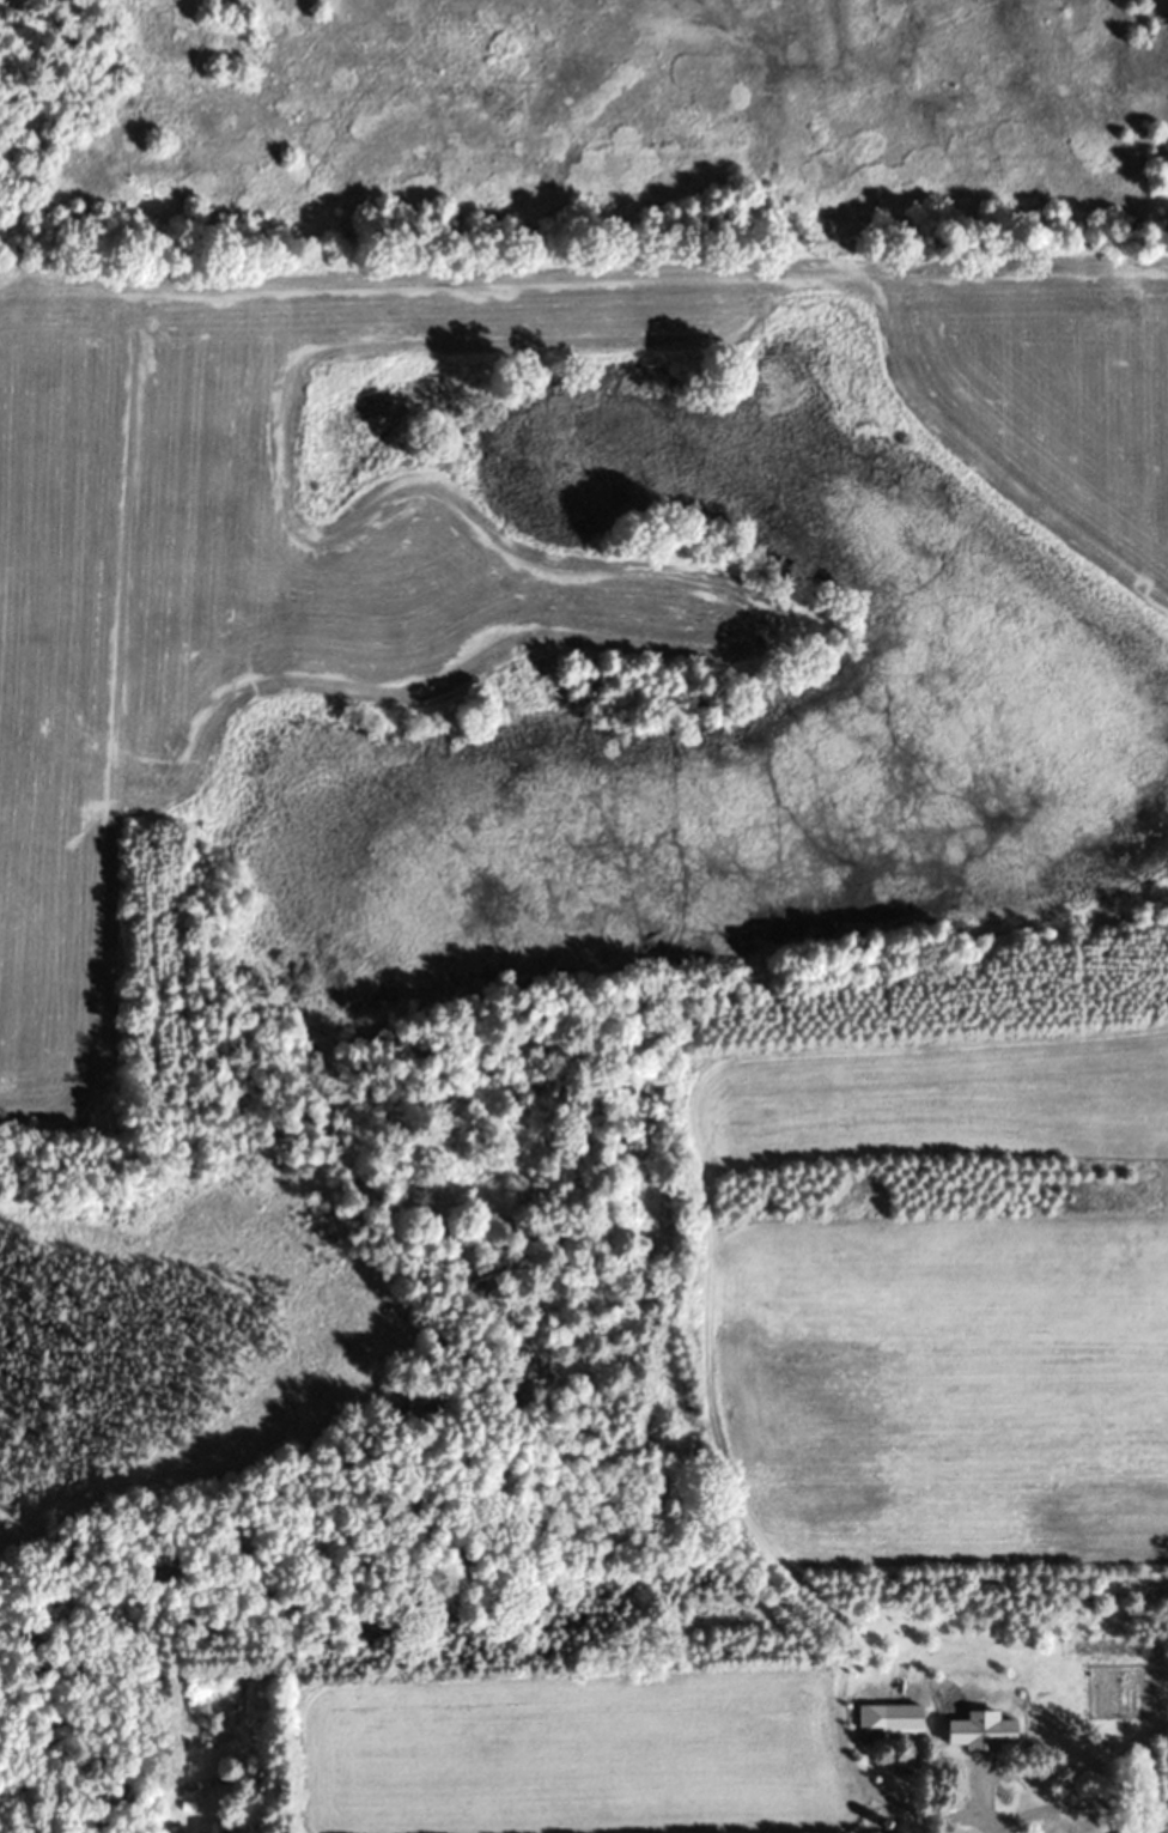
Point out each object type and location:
building: (902, 1722)
building: (984, 1732)
building: (1073, 1826)
building: (211, 1827)

